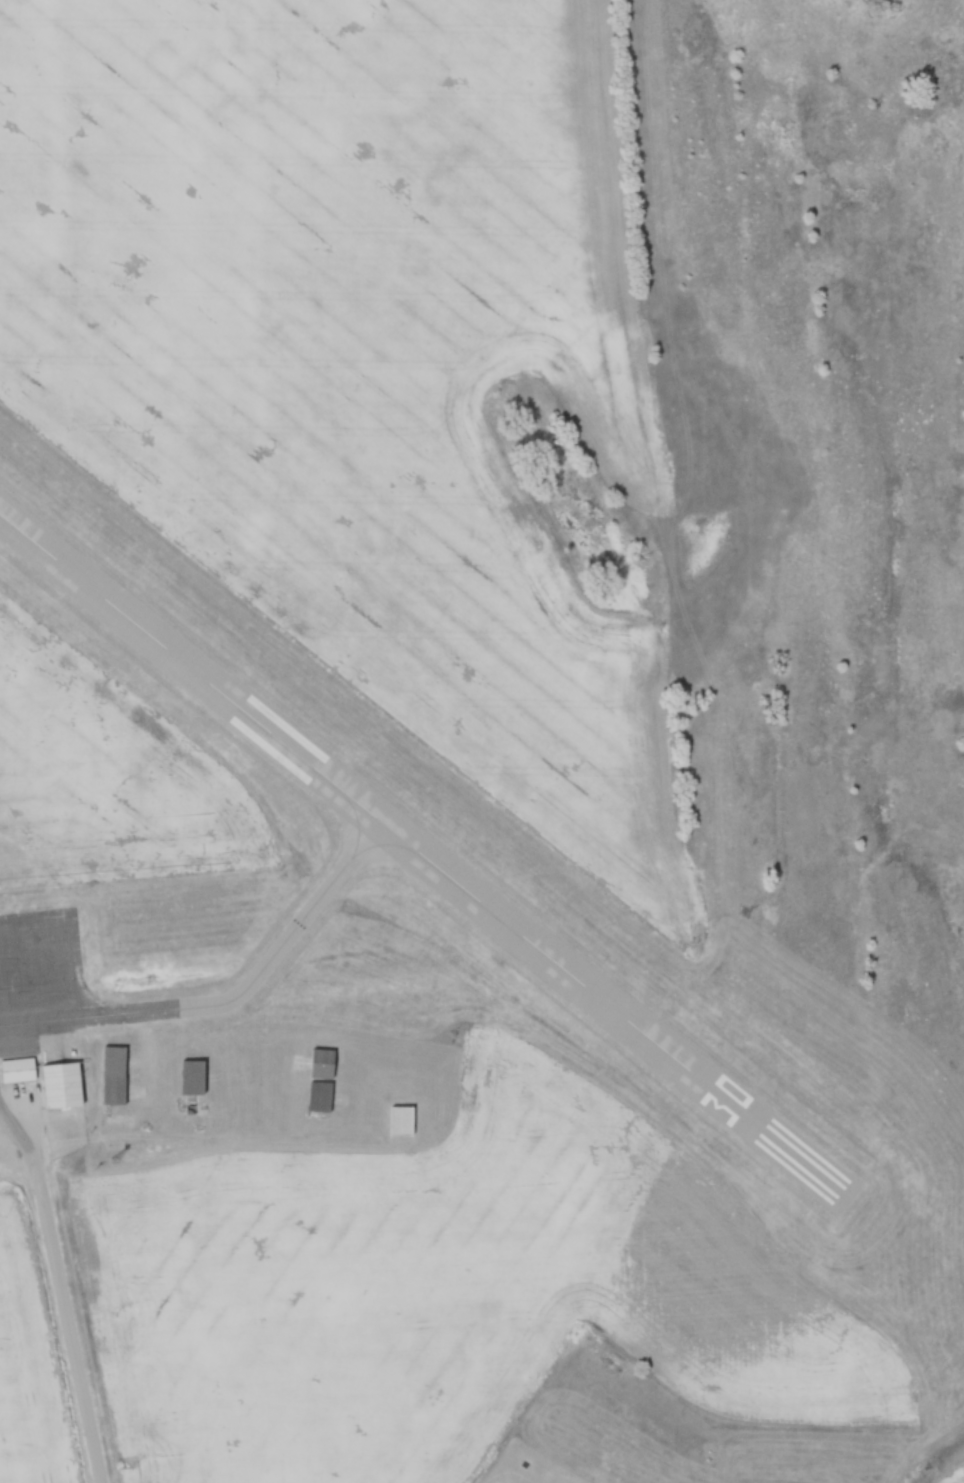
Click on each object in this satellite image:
airport: (376, 789)
airport runway: (425, 860)
airport taxiway: (232, 1003)
building: (331, 1065)
building: (26, 1072)
building: (122, 1078)
building: (199, 1079)
building: (71, 1086)
building: (326, 1099)
building: (410, 1121)
road: (60, 1291)
building: (381, 1363)

